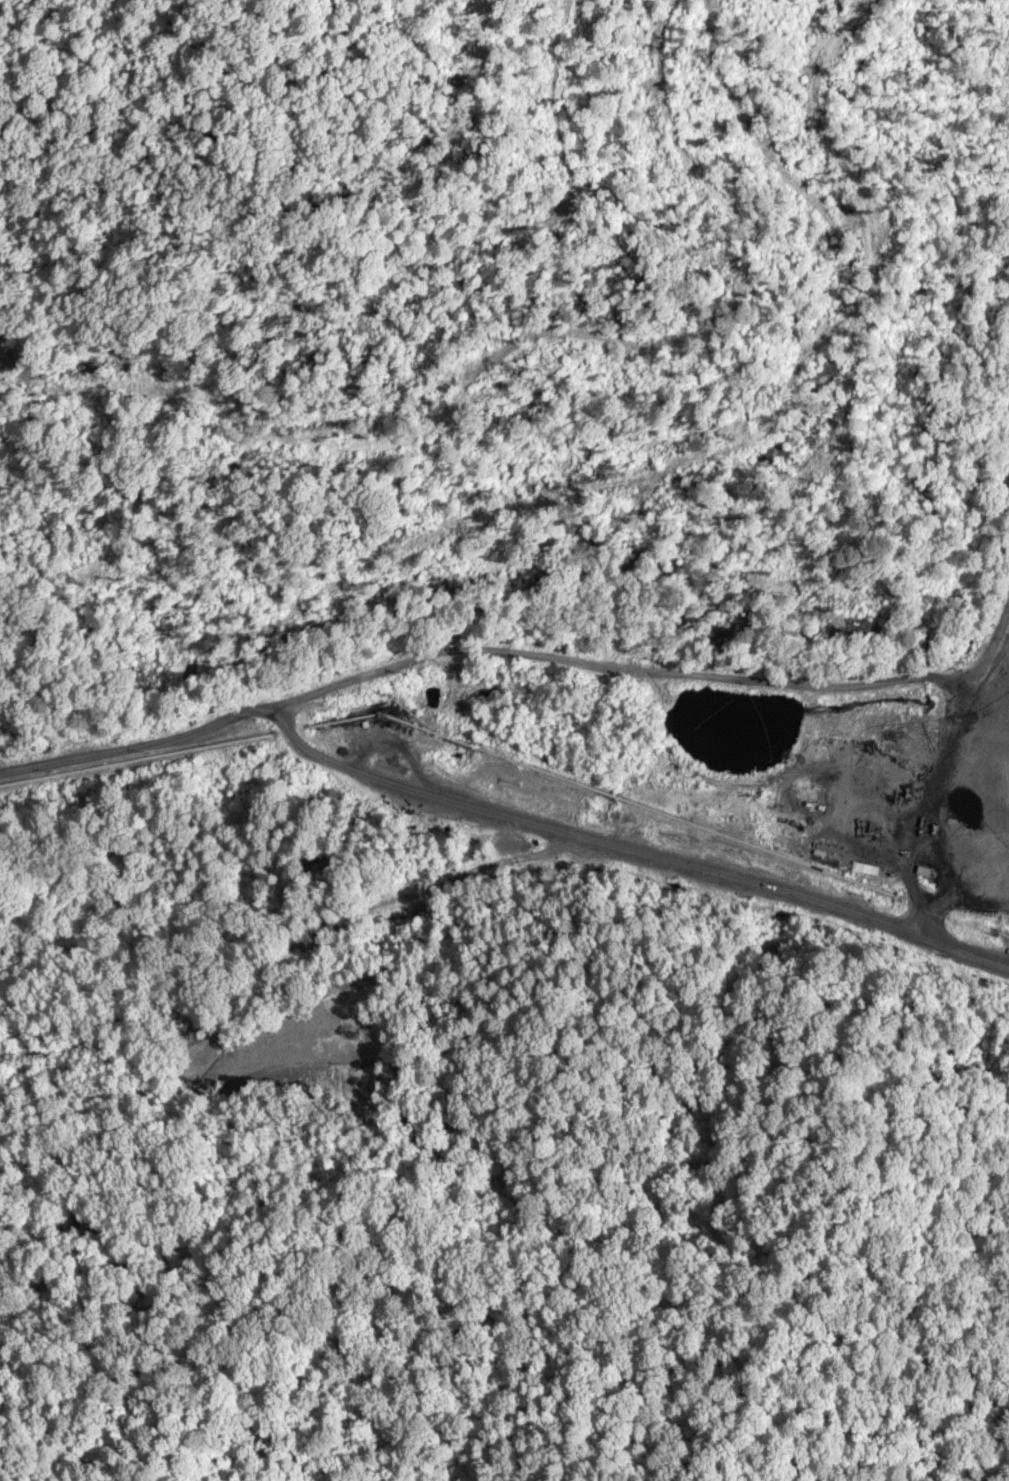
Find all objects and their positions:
quarry: (640, 756)

